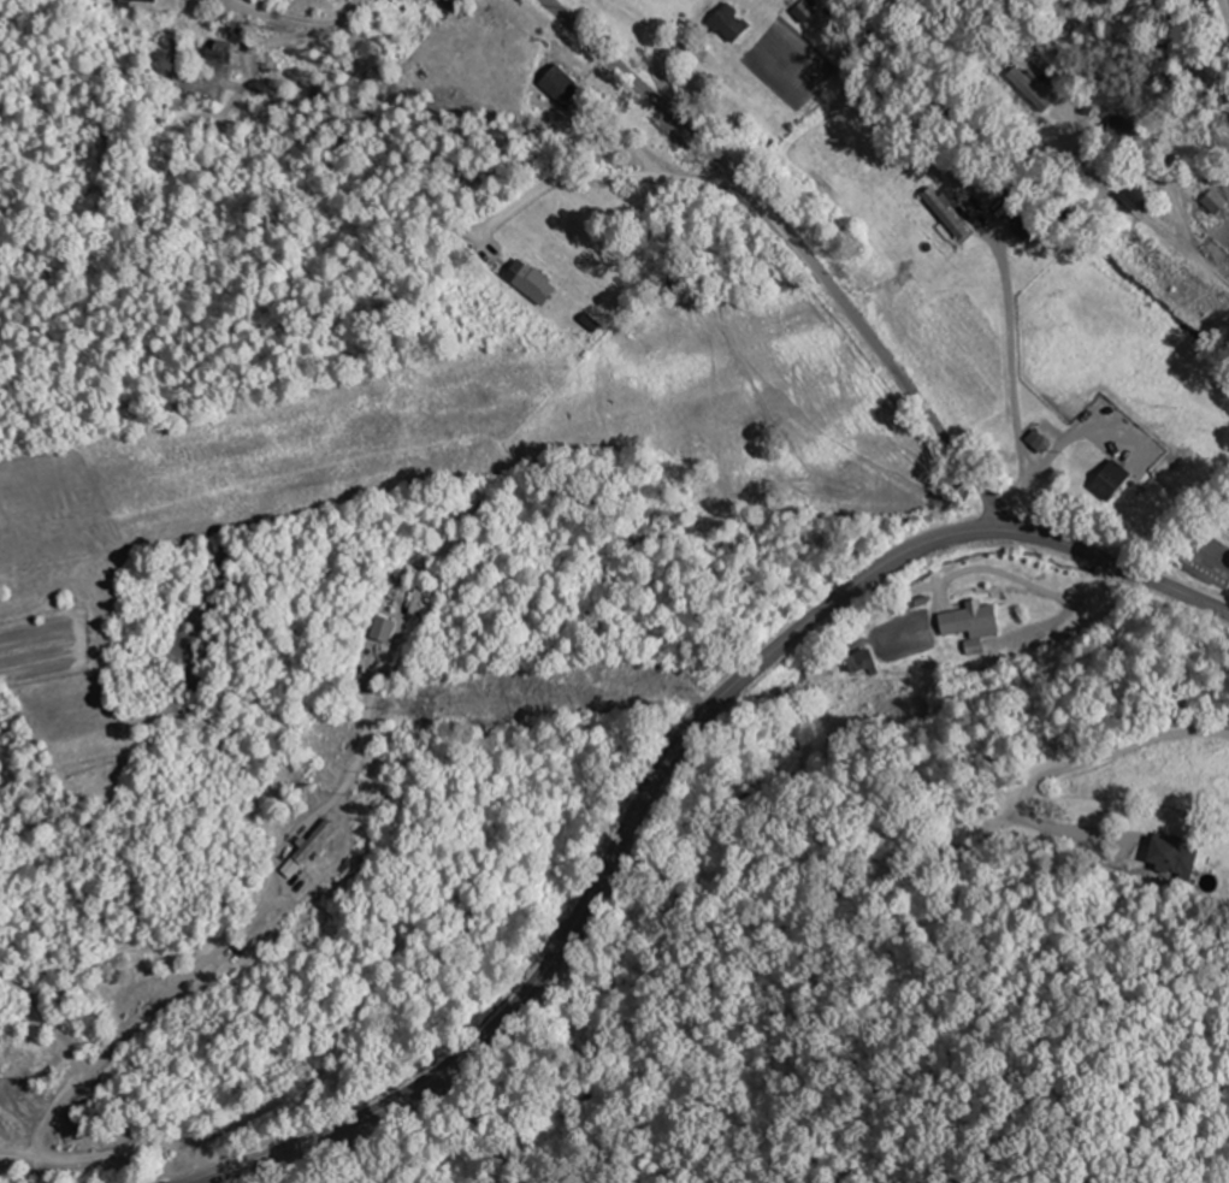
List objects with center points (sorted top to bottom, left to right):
building: (622, 0)
building: (140, 1)
building: (1206, 2)
building: (808, 11)
road: (1223, 11)
road: (282, 18)
building: (733, 24)
building: (226, 51)
building: (565, 85)
building: (1034, 90)
building: (1124, 132)
road: (603, 177)
building: (1217, 202)
road: (1130, 206)
building: (950, 213)
building: (1026, 227)
road: (803, 250)
building: (538, 283)
building: (1113, 481)
road: (1124, 572)
building: (971, 619)
building: (902, 627)
building: (974, 647)
building: (865, 662)
building: (1177, 859)
road: (610, 863)
road: (1193, 977)

